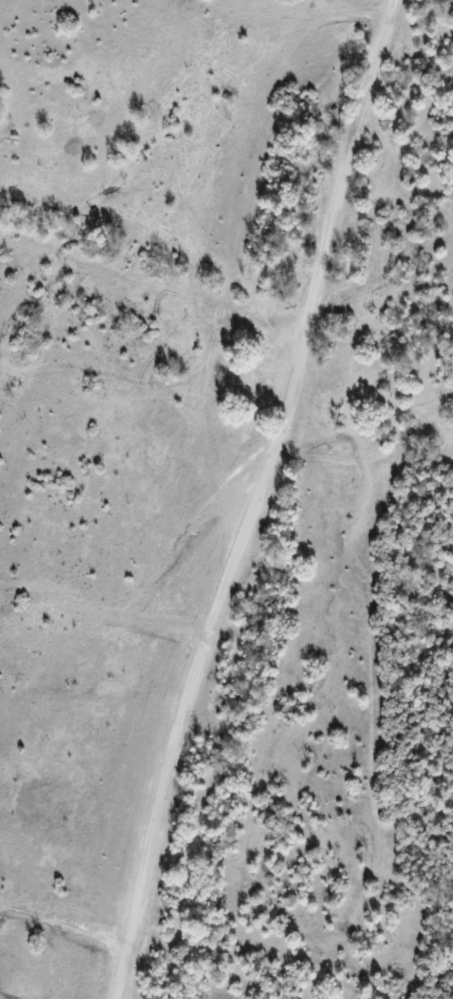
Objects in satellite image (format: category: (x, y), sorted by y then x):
road: (247, 498)

